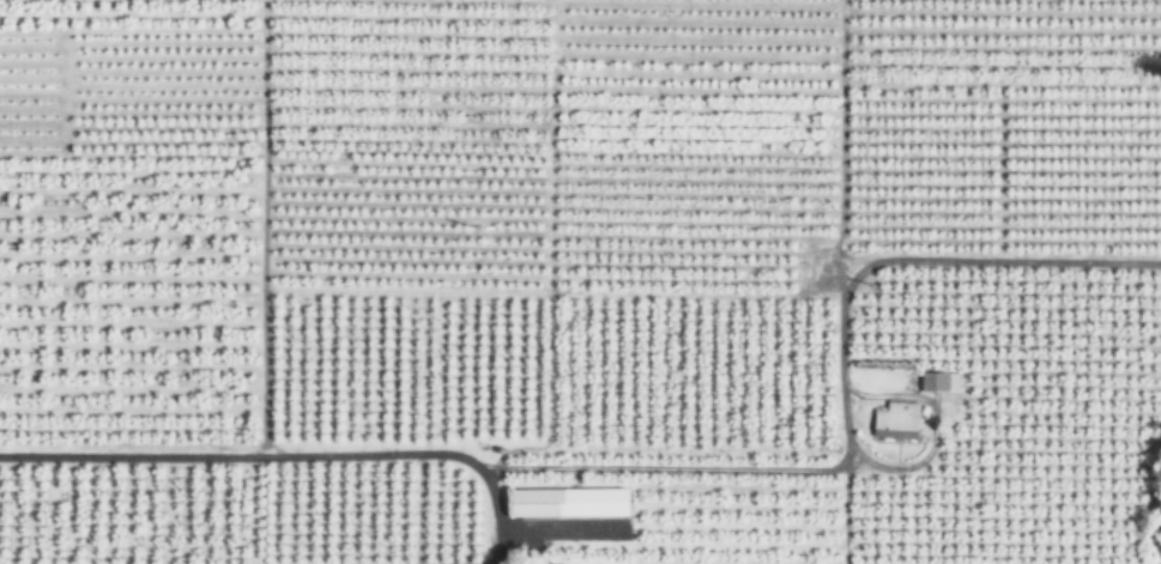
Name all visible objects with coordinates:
road: (889, 259)
building: (937, 380)
building: (894, 418)
road: (280, 453)
road: (688, 467)
building: (568, 502)

